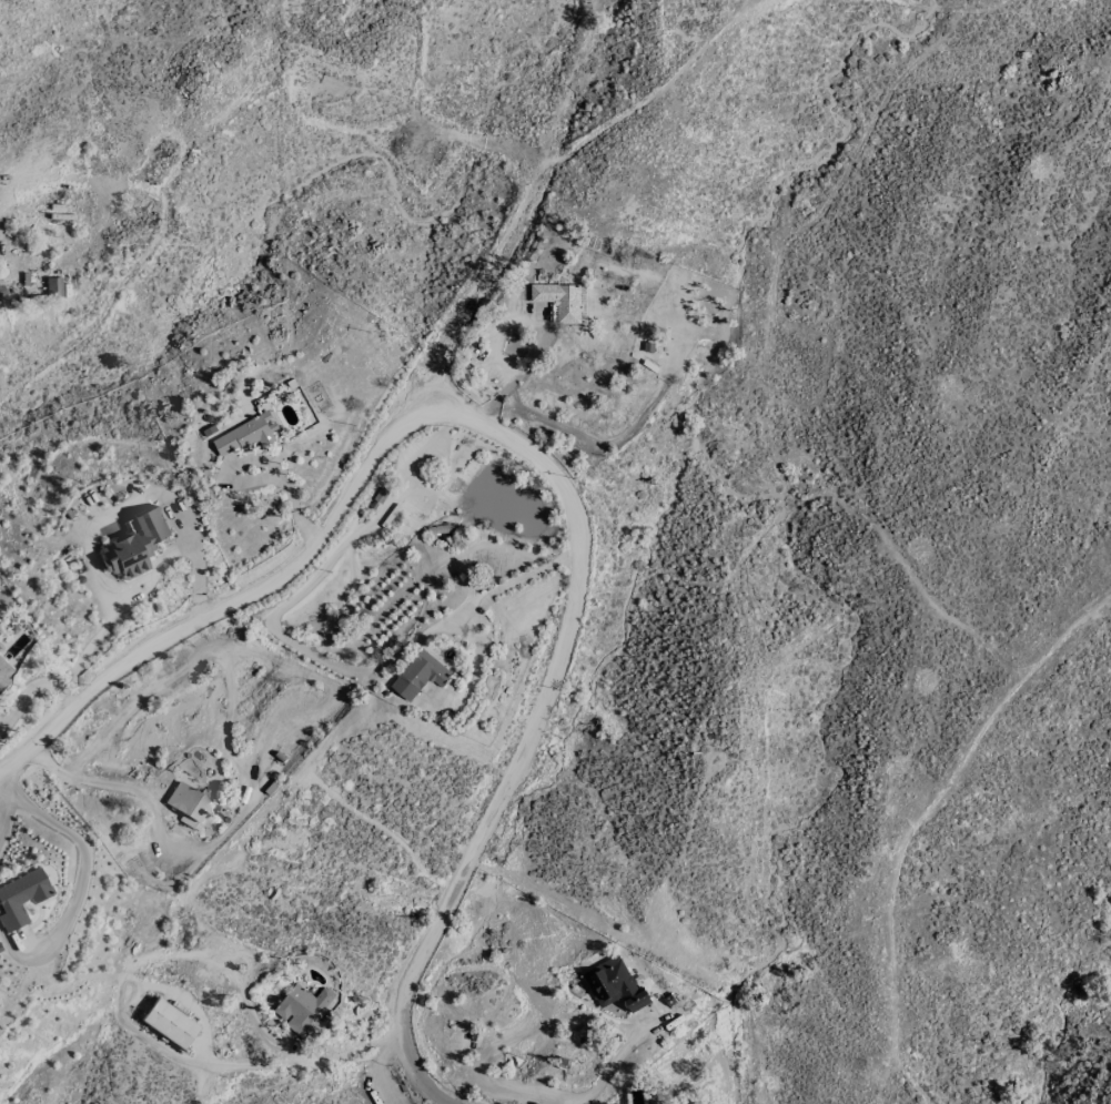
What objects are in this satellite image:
building: (559, 300)
building: (246, 434)
road: (478, 605)
road: (221, 610)
building: (3, 672)
building: (418, 675)
road: (36, 683)
road: (535, 723)
road: (110, 784)
road: (4, 791)
building: (189, 809)
road: (6, 817)
road: (75, 885)
building: (20, 898)
building: (614, 984)
building: (302, 1006)
building: (168, 1023)
road: (300, 1060)
road: (609, 1063)

